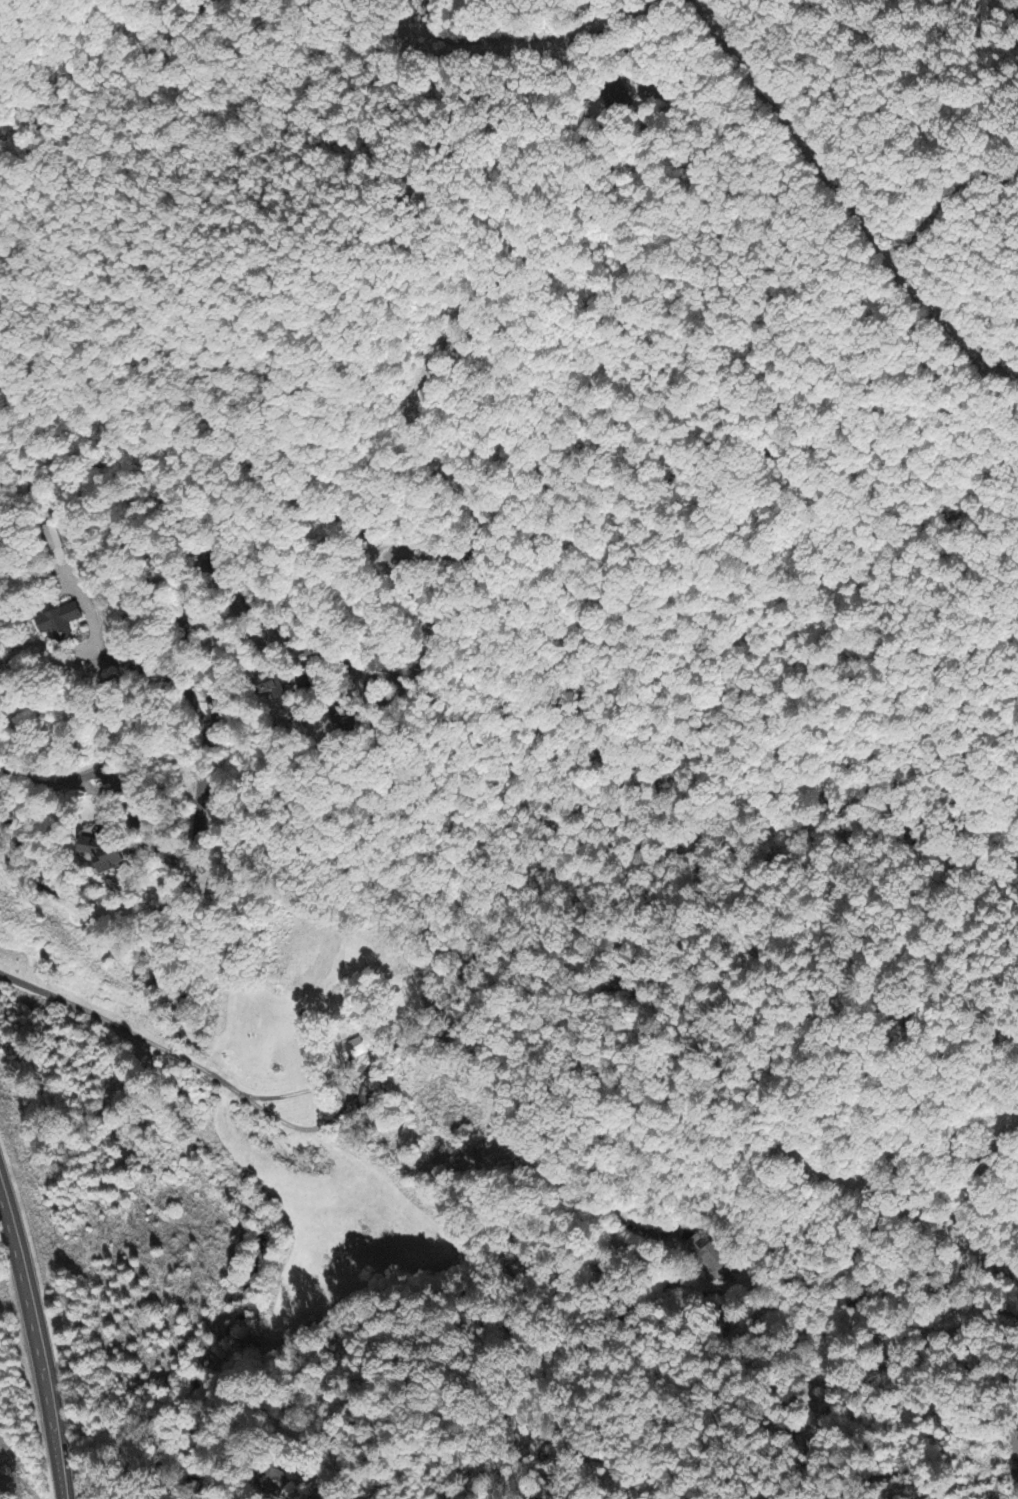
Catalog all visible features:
road: (656, 5)
road: (1010, 10)
road: (917, 57)
road: (800, 146)
road: (445, 338)
road: (762, 452)
road: (225, 584)
building: (58, 622)
building: (271, 688)
building: (347, 713)
building: (101, 855)
building: (356, 1051)
building: (365, 1099)
building: (707, 1258)
road: (486, 1333)
road: (40, 1345)
building: (276, 1481)

